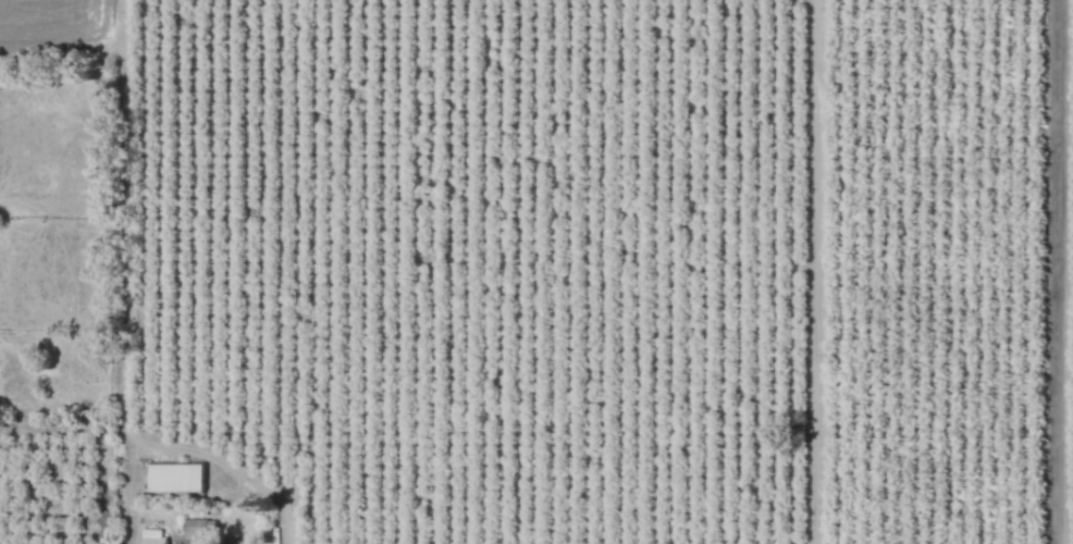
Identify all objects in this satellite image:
road: (1053, 272)
building: (178, 478)
building: (199, 528)
building: (155, 536)
road: (188, 542)

